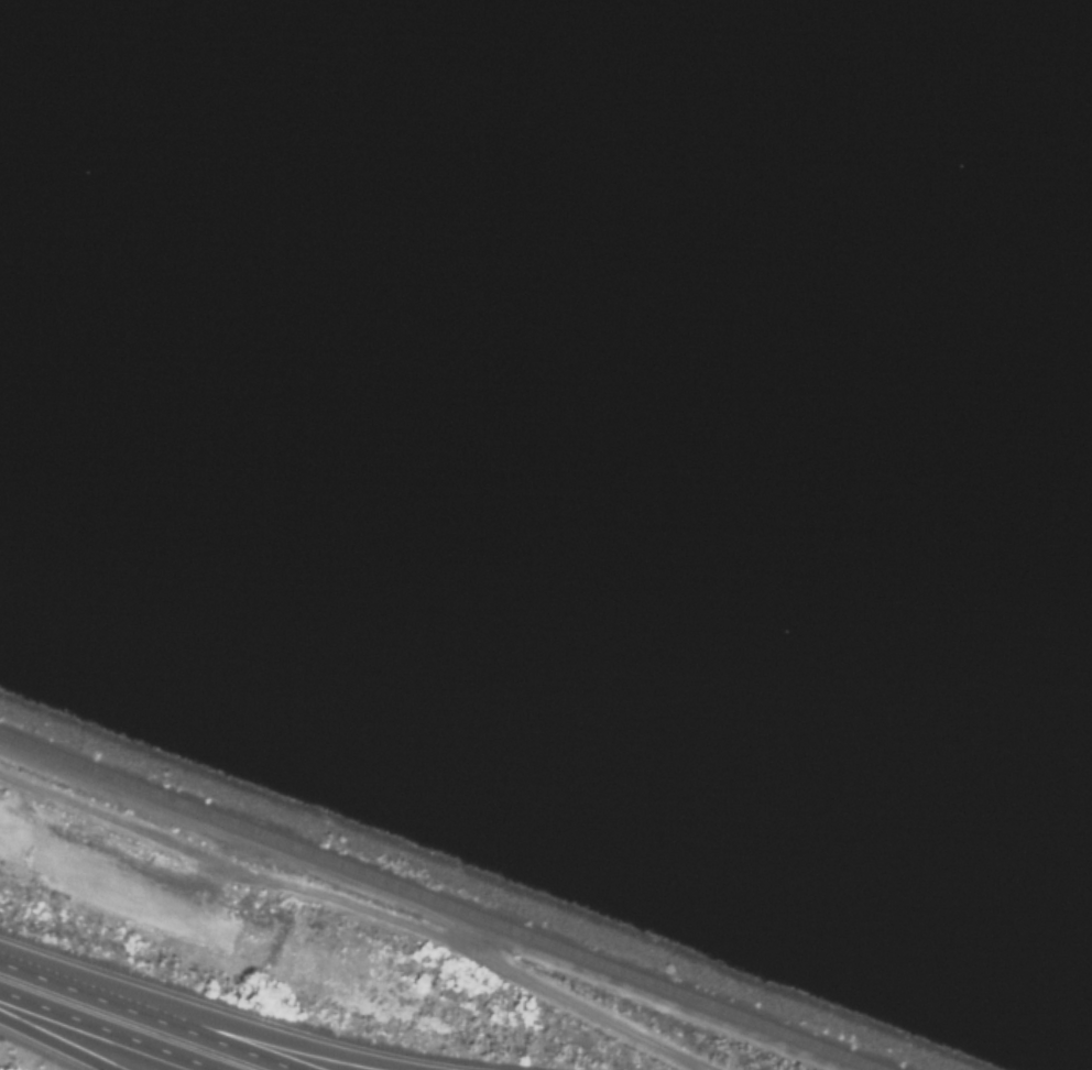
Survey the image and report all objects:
railway: (445, 896)
road: (601, 1013)
road: (165, 1016)
road: (232, 1026)
road: (92, 1033)
road: (54, 1044)

